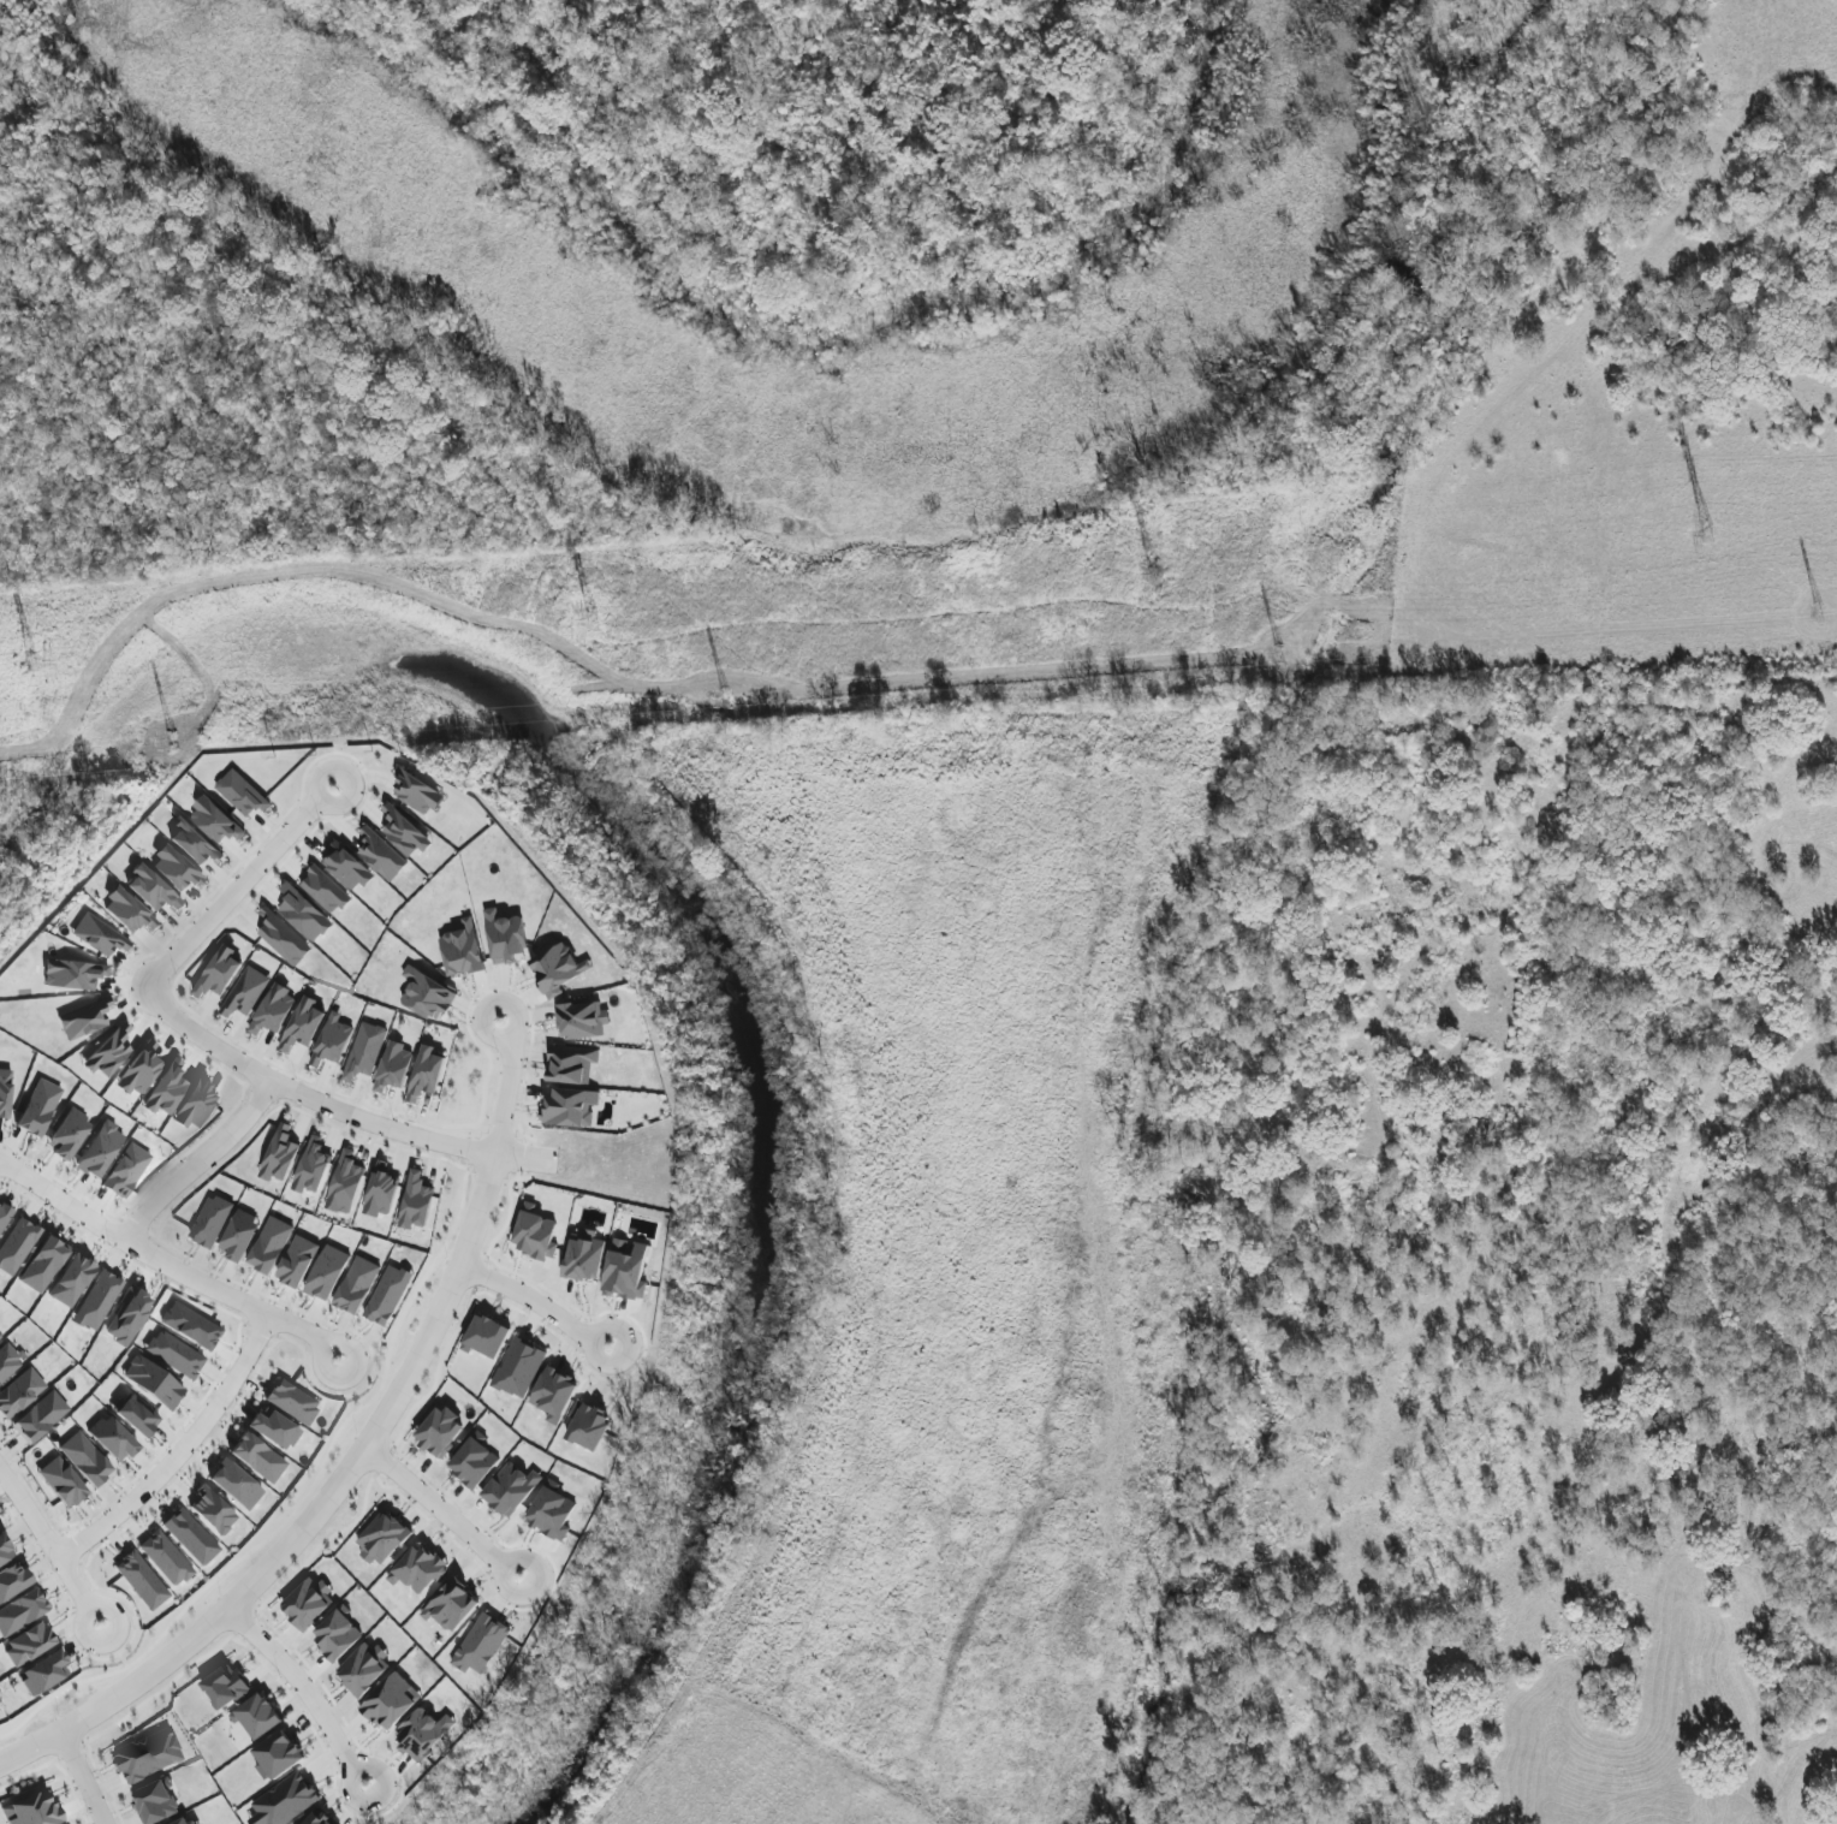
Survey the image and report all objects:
power tower: (1706, 534)
power tower: (1153, 577)
power tower: (1818, 616)
power tower: (590, 622)
power tower: (1278, 659)
power tower: (29, 664)
power tower: (725, 703)
power tower: (171, 744)
road: (321, 778)
building: (417, 792)
building: (242, 794)
road: (313, 810)
building: (216, 821)
building: (404, 832)
building: (194, 843)
building: (381, 855)
building: (346, 867)
building: (174, 869)
building: (150, 890)
building: (325, 891)
building: (126, 911)
building: (304, 914)
building: (97, 937)
building: (284, 938)
building: (506, 938)
building: (462, 950)
river: (718, 961)
road: (176, 963)
building: (557, 969)
building: (219, 973)
building: (72, 975)
building: (245, 992)
building: (427, 996)
building: (274, 1011)
building: (84, 1020)
building: (582, 1021)
building: (303, 1024)
building: (333, 1040)
building: (364, 1051)
building: (107, 1053)
building: (572, 1064)
building: (393, 1067)
building: (138, 1070)
building: (427, 1073)
building: (165, 1089)
road: (500, 1092)
building: (4, 1094)
building: (195, 1106)
building: (37, 1107)
building: (569, 1107)
road: (376, 1128)
building: (67, 1135)
building: (99, 1151)
building: (280, 1155)
road: (197, 1161)
building: (313, 1168)
building: (125, 1171)
building: (346, 1183)
building: (381, 1194)
building: (416, 1202)
building: (4, 1217)
building: (212, 1222)
building: (535, 1234)
building: (240, 1235)
building: (16, 1246)
building: (271, 1247)
building: (583, 1256)
building: (298, 1261)
road: (162, 1264)
building: (42, 1265)
building: (625, 1271)
building: (327, 1272)
building: (70, 1281)
building: (357, 1285)
building: (388, 1295)
building: (96, 1301)
road: (529, 1307)
building: (127, 1317)
building: (190, 1326)
building: (0, 1335)
building: (486, 1337)
building: (173, 1355)
building: (7, 1362)
building: (518, 1368)
building: (153, 1383)
building: (19, 1392)
building: (554, 1395)
building: (291, 1402)
building: (136, 1416)
building: (38, 1418)
building: (589, 1427)
building: (273, 1430)
building: (441, 1432)
building: (111, 1439)
road: (183, 1448)
building: (256, 1457)
building: (84, 1460)
building: (474, 1461)
building: (60, 1483)
building: (234, 1485)
road: (338, 1489)
building: (511, 1489)
building: (212, 1511)
building: (552, 1511)
road: (435, 1514)
road: (49, 1534)
building: (190, 1538)
building: (382, 1539)
building: (5, 1552)
building: (165, 1558)
building: (417, 1570)
building: (12, 1581)
building: (141, 1581)
building: (308, 1603)
building: (452, 1606)
building: (20, 1611)
building: (338, 1634)
building: (28, 1644)
building: (481, 1645)
building: (363, 1669)
building: (43, 1674)
building: (225, 1687)
road: (295, 1687)
building: (391, 1701)
building: (257, 1716)
building: (422, 1734)
road: (31, 1743)
building: (148, 1755)
building: (278, 1755)
road: (77, 1780)
building: (286, 1800)
building: (156, 1802)
building: (31, 1810)
building: (317, 1818)
building: (185, 1820)

